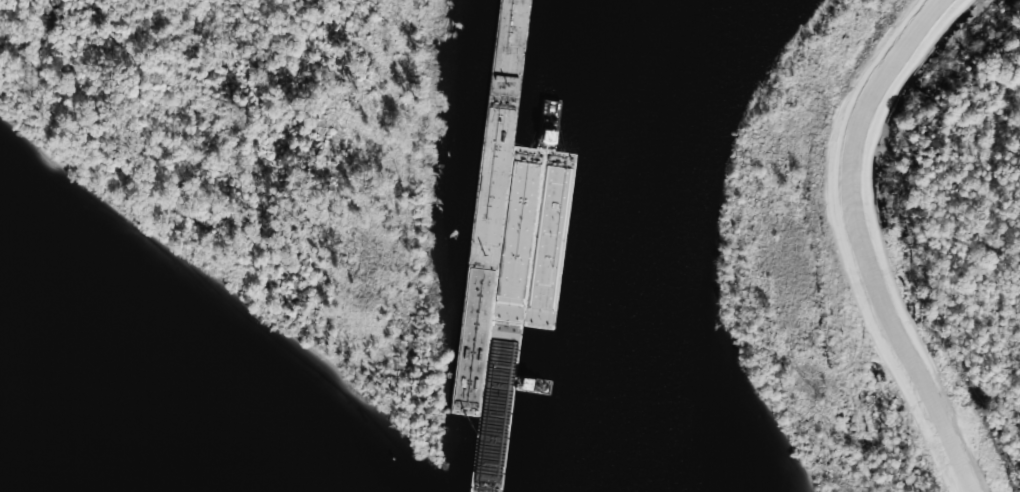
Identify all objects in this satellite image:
river: (586, 237)
river: (95, 411)

